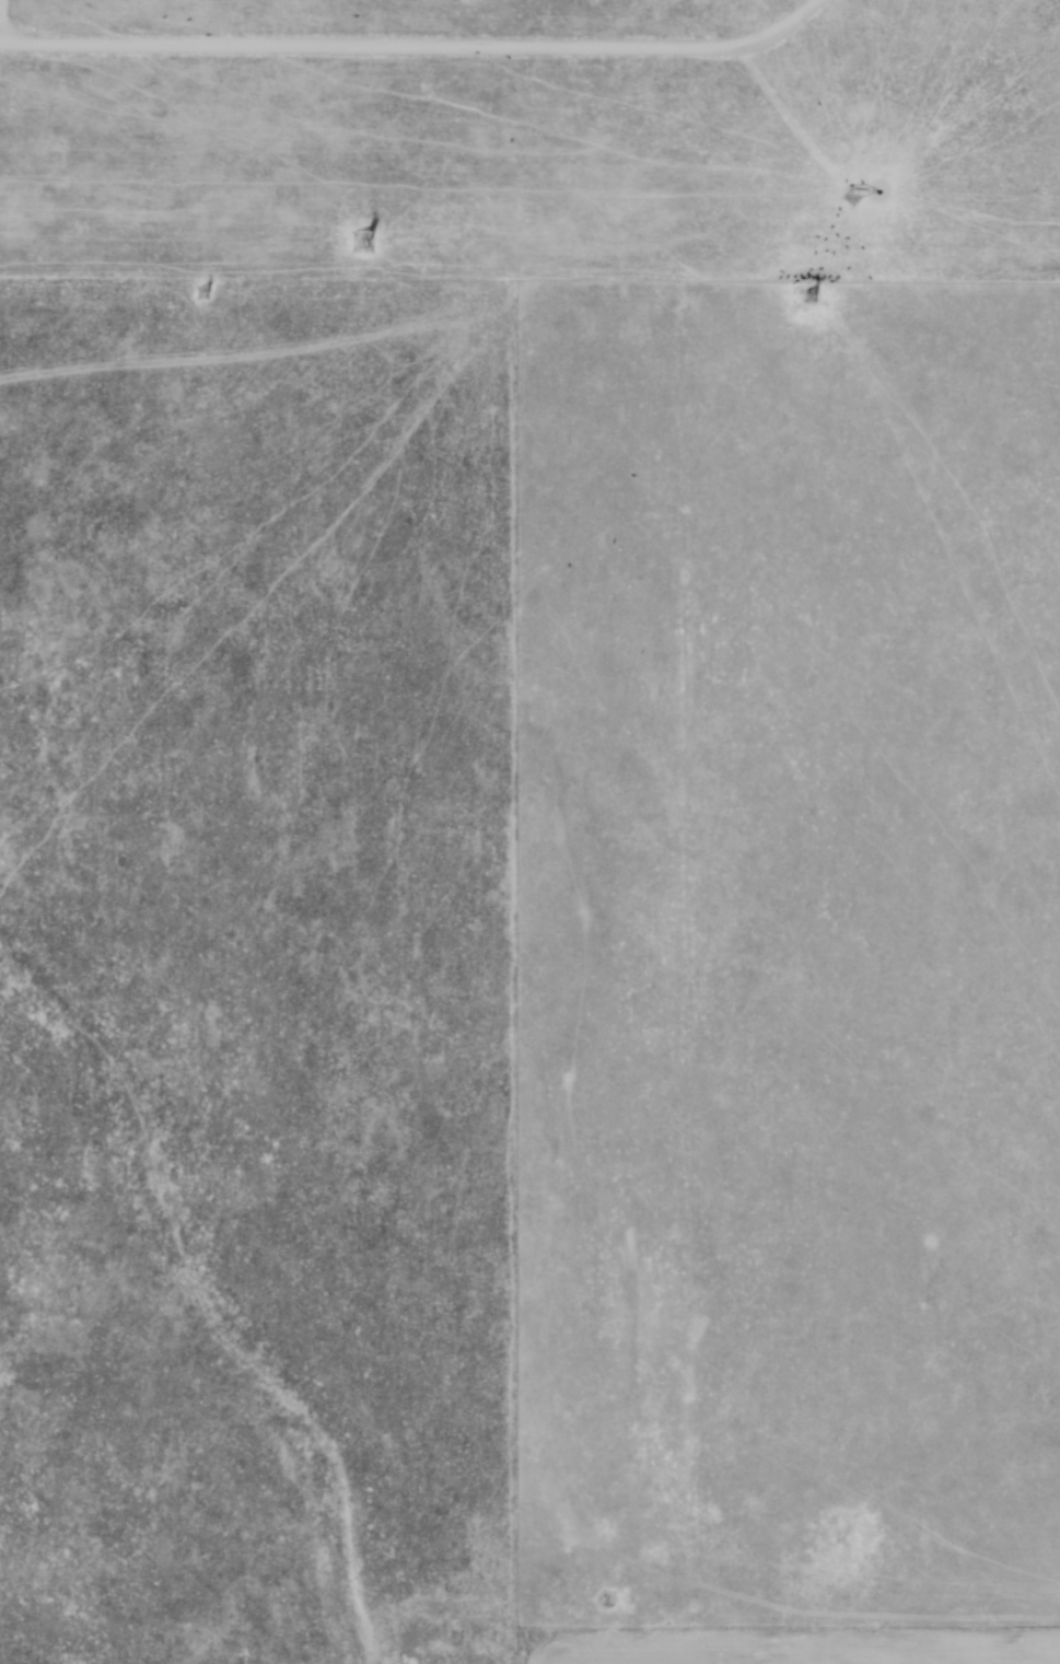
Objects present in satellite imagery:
solar farm: (532, 140)
power tower: (357, 242)
power tower: (207, 295)
power tower: (816, 296)

